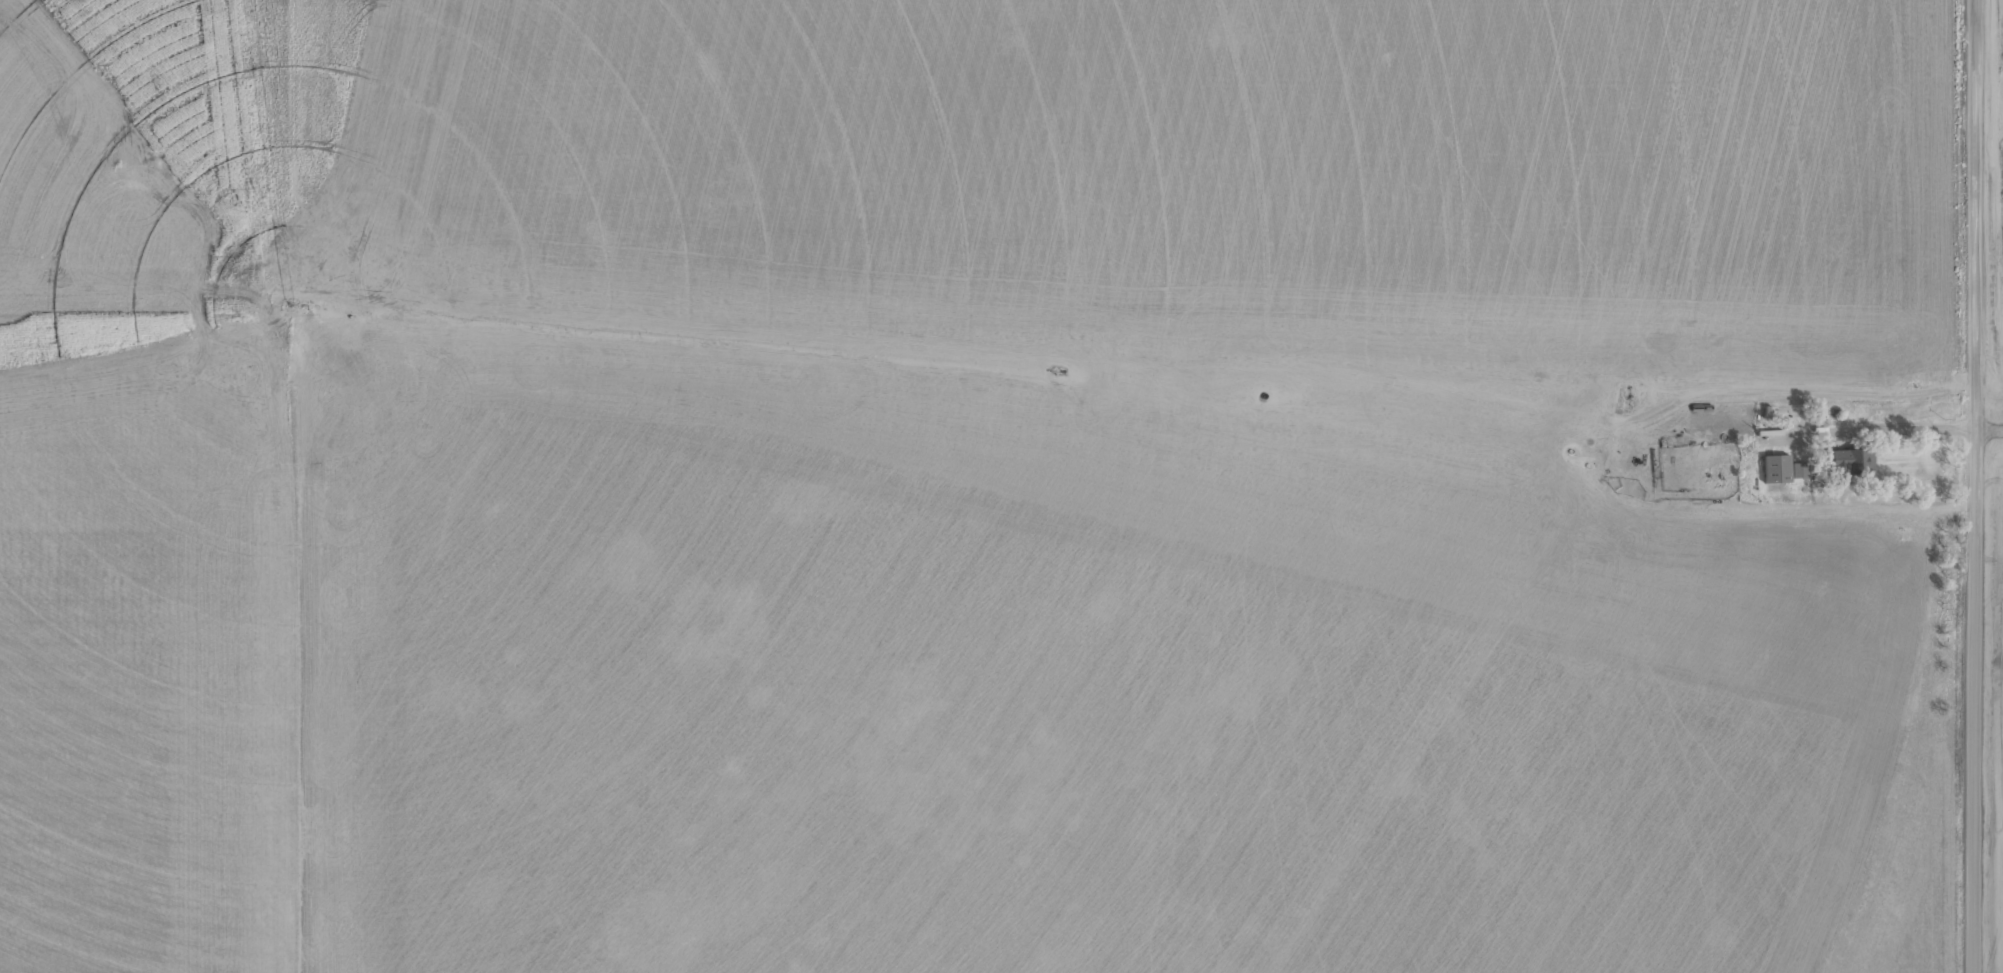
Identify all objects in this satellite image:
road: (1974, 486)

